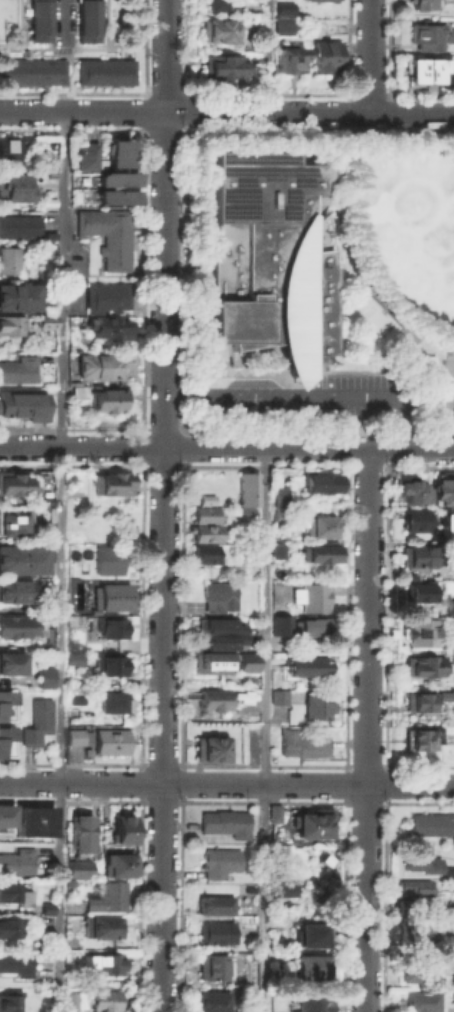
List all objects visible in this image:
building: (317, 0)
building: (421, 3)
building: (215, 5)
building: (282, 6)
building: (245, 10)
road: (64, 19)
building: (38, 20)
building: (85, 21)
building: (280, 24)
building: (216, 28)
building: (425, 36)
building: (322, 55)
road: (268, 56)
road: (371, 56)
building: (287, 58)
building: (218, 65)
building: (423, 67)
building: (31, 69)
building: (104, 69)
road: (71, 72)
road: (226, 112)
building: (7, 149)
building: (116, 149)
building: (84, 155)
building: (115, 178)
building: (14, 187)
building: (115, 196)
building: (18, 224)
park: (404, 231)
building: (106, 233)
road: (350, 253)
building: (269, 257)
building: (8, 259)
park: (321, 280)
building: (17, 295)
building: (105, 295)
building: (45, 319)
building: (11, 322)
building: (108, 326)
building: (429, 360)
building: (99, 364)
building: (17, 368)
building: (47, 371)
park: (447, 387)
building: (76, 390)
road: (417, 392)
building: (103, 397)
parking lot: (311, 398)
building: (22, 404)
road: (227, 448)
road: (261, 469)
building: (320, 480)
building: (11, 481)
building: (112, 482)
building: (409, 488)
building: (442, 489)
building: (247, 492)
building: (279, 494)
building: (204, 496)
road: (163, 506)
building: (206, 514)
building: (280, 514)
building: (413, 520)
building: (11, 522)
building: (315, 523)
building: (446, 524)
building: (205, 532)
building: (276, 549)
building: (319, 551)
building: (206, 553)
building: (414, 556)
building: (20, 558)
building: (108, 558)
road: (58, 560)
building: (15, 589)
building: (416, 591)
building: (110, 595)
building: (217, 595)
building: (310, 595)
building: (449, 607)
road: (178, 618)
road: (342, 618)
building: (280, 623)
building: (15, 625)
building: (317, 625)
building: (109, 626)
building: (216, 626)
building: (421, 629)
building: (449, 643)
building: (73, 653)
building: (11, 654)
building: (208, 659)
building: (107, 660)
building: (422, 660)
building: (246, 661)
building: (307, 664)
building: (43, 674)
building: (445, 694)
building: (277, 696)
building: (72, 697)
building: (212, 698)
building: (417, 700)
building: (112, 701)
building: (4, 704)
building: (316, 706)
building: (36, 721)
road: (263, 730)
road: (367, 730)
building: (74, 736)
building: (4, 739)
building: (416, 739)
building: (110, 741)
building: (300, 743)
building: (207, 747)
road: (259, 768)
road: (226, 783)
building: (4, 813)
building: (279, 817)
building: (33, 818)
building: (224, 821)
building: (314, 822)
building: (433, 824)
building: (122, 829)
building: (78, 833)
building: (417, 859)
building: (16, 860)
building: (217, 862)
building: (118, 864)
building: (77, 867)
building: (449, 869)
building: (280, 884)
building: (413, 885)
building: (453, 885)
building: (14, 892)
building: (107, 898)
building: (214, 903)
building: (45, 907)
building: (101, 926)
building: (7, 928)
building: (216, 932)
building: (309, 932)
building: (443, 941)
building: (107, 962)
building: (16, 963)
building: (210, 965)
building: (309, 965)
building: (421, 970)
building: (452, 986)
building: (101, 999)
building: (70, 1000)
building: (418, 1000)
building: (210, 1001)
building: (310, 1002)
building: (8, 1003)

